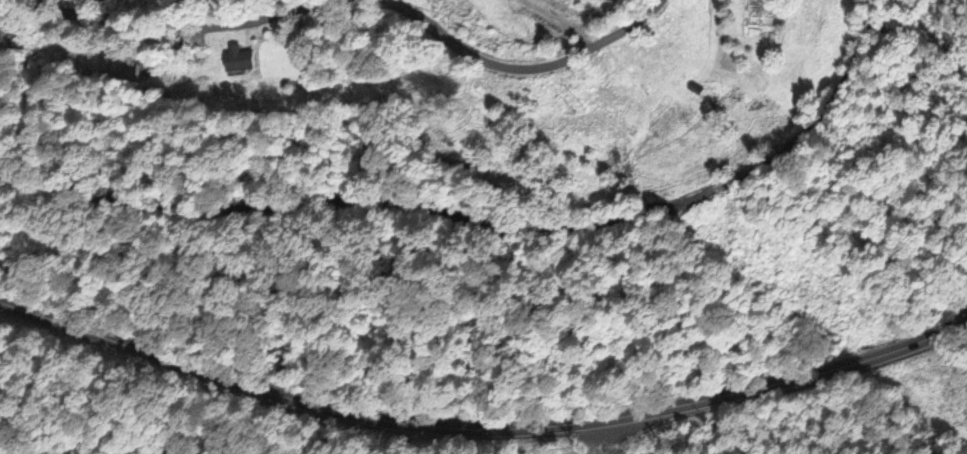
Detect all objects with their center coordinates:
road: (446, 17)
road: (164, 25)
building: (241, 59)
road: (517, 64)
road: (484, 424)

